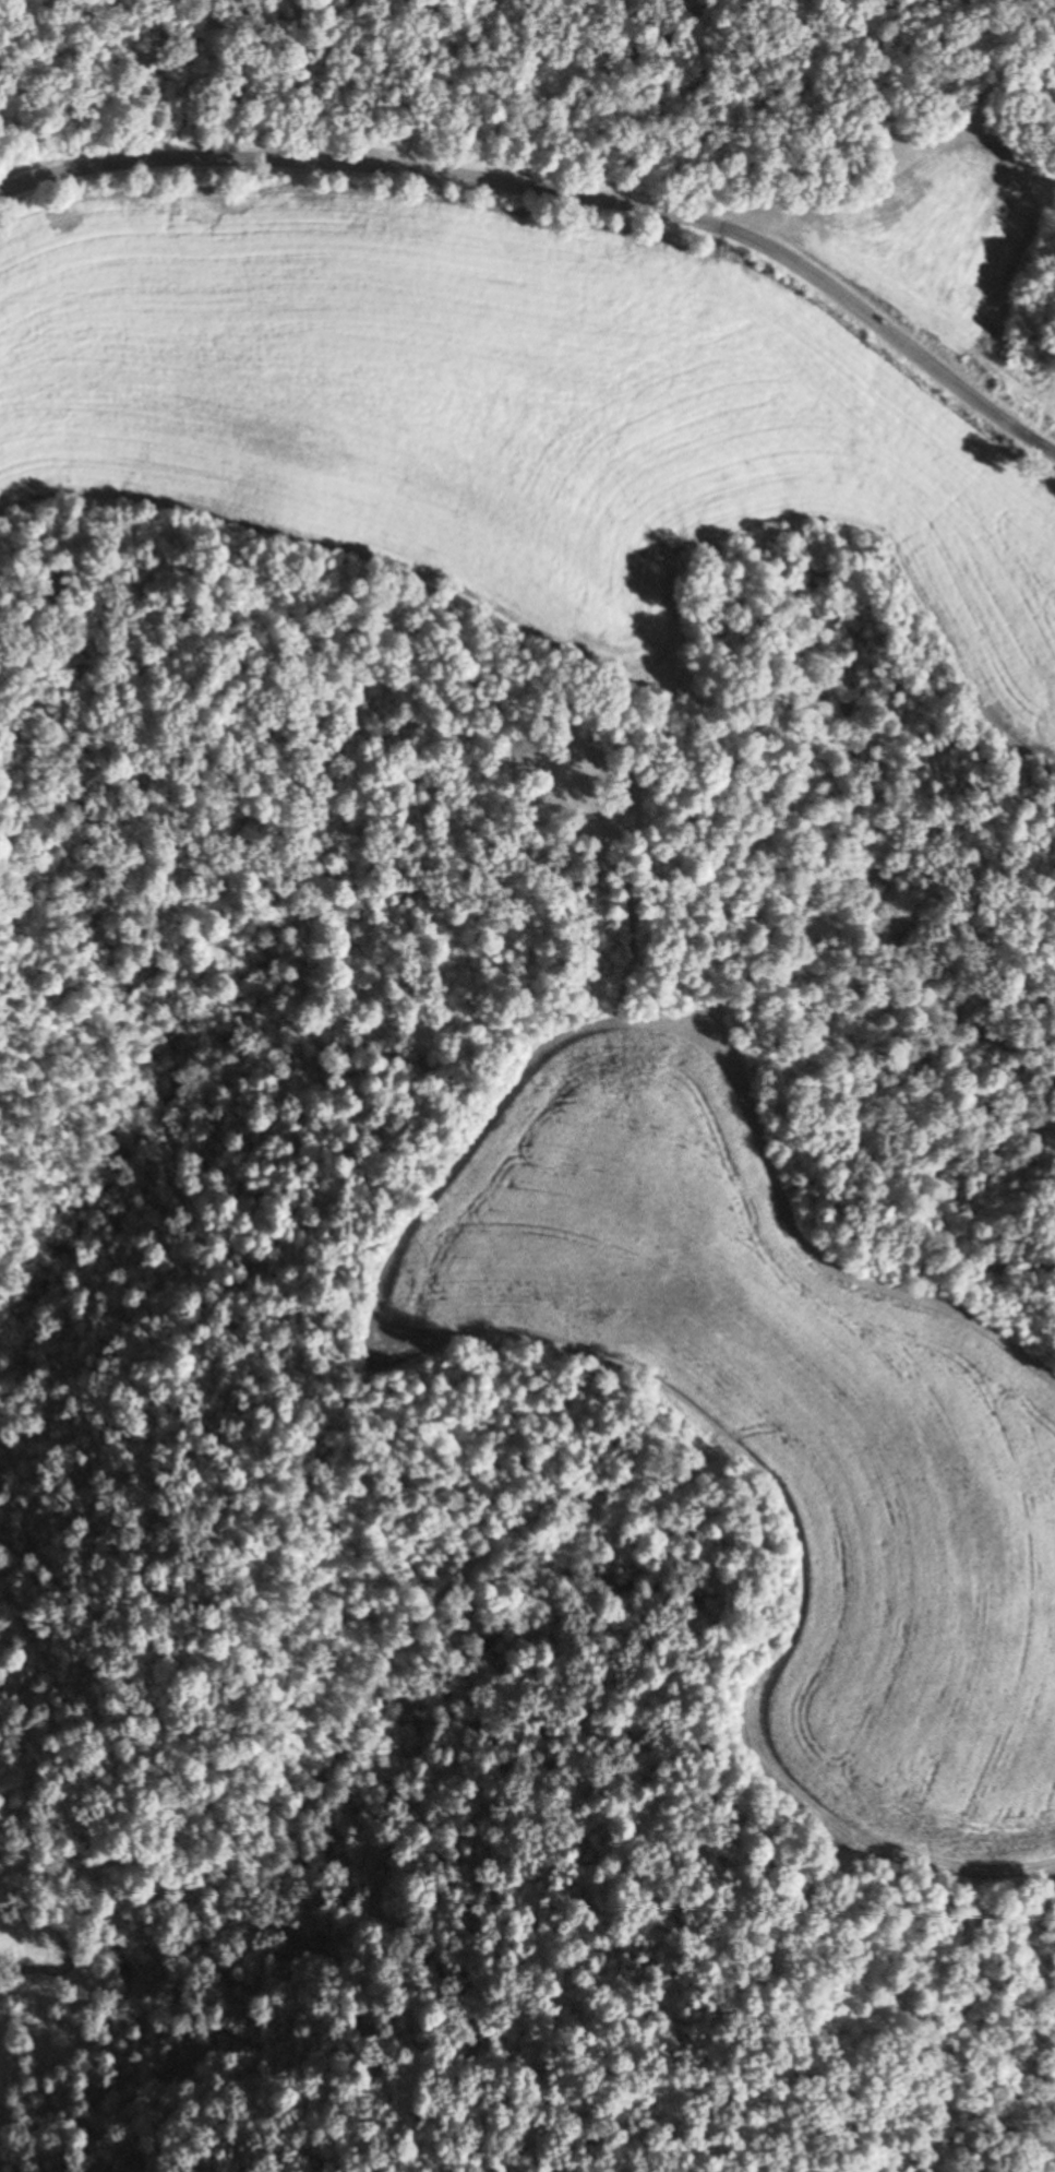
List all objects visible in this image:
road: (546, 217)

